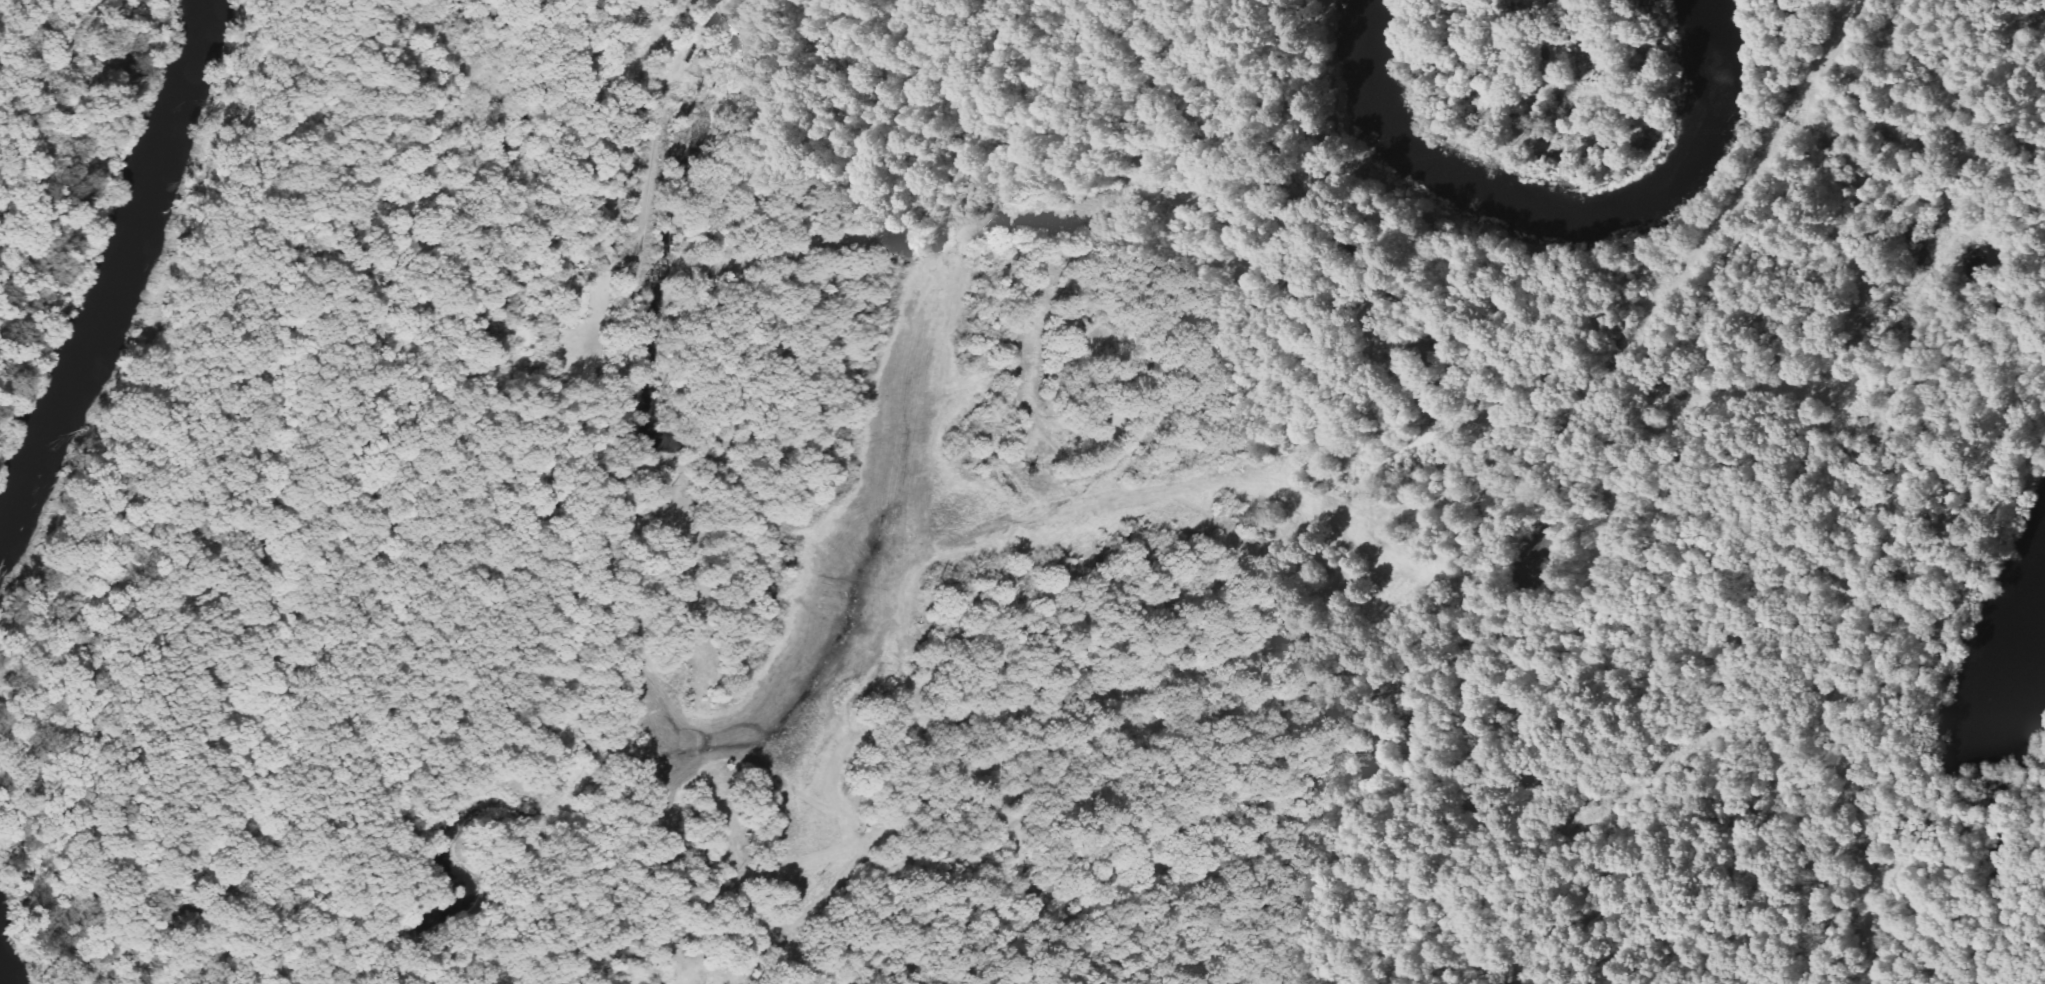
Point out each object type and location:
road: (1610, 59)
road: (1283, 222)
river: (119, 272)
road: (1178, 364)
road: (605, 515)
road: (1461, 517)
road: (1857, 704)
road: (1979, 807)
road: (582, 939)
river: (3, 971)

